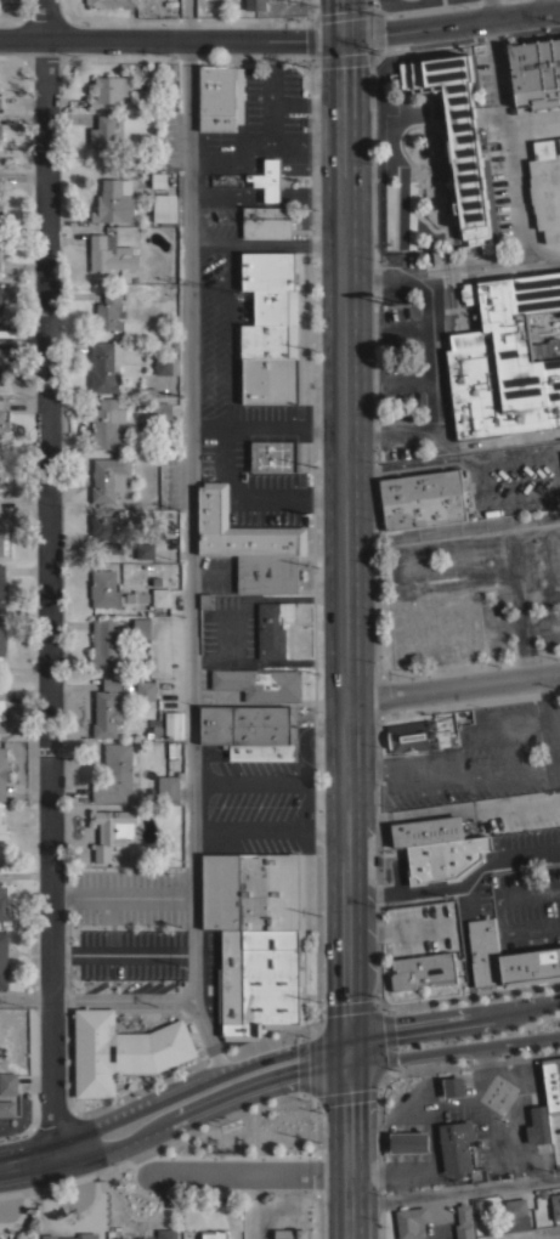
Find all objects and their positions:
building: (112, 2)
building: (255, 4)
road: (544, 6)
road: (490, 10)
road: (340, 19)
road: (449, 24)
traffic signals: (341, 40)
road: (170, 41)
building: (534, 73)
building: (111, 90)
building: (220, 97)
building: (0, 103)
parking lot: (267, 119)
building: (0, 131)
building: (102, 134)
building: (456, 136)
building: (559, 142)
road: (507, 148)
building: (268, 179)
building: (159, 180)
building: (545, 188)
building: (114, 200)
building: (164, 208)
building: (1, 213)
building: (266, 222)
road: (210, 243)
road: (285, 243)
building: (109, 254)
building: (0, 265)
building: (0, 296)
building: (270, 305)
building: (109, 311)
road: (228, 333)
building: (505, 360)
road: (428, 361)
building: (104, 364)
building: (166, 366)
building: (0, 369)
building: (271, 380)
building: (162, 409)
parking lot: (242, 409)
road: (285, 423)
building: (108, 424)
building: (2, 425)
building: (275, 456)
road: (413, 469)
building: (0, 471)
building: (109, 477)
parking lot: (513, 480)
road: (483, 481)
road: (256, 490)
building: (422, 498)
building: (241, 528)
building: (108, 532)
road: (346, 543)
road: (192, 544)
building: (1, 545)
building: (145, 550)
parking lot: (220, 573)
building: (266, 573)
road: (49, 577)
building: (2, 588)
building: (103, 588)
building: (136, 595)
building: (162, 596)
road: (259, 598)
building: (207, 601)
building: (141, 628)
building: (272, 628)
parking lot: (231, 632)
building: (2, 639)
building: (104, 643)
road: (268, 663)
building: (259, 683)
road: (454, 684)
building: (146, 690)
road: (471, 702)
road: (551, 707)
building: (1, 708)
building: (107, 708)
building: (172, 724)
building: (248, 724)
road: (492, 725)
building: (419, 734)
building: (260, 751)
parking lot: (493, 756)
road: (397, 765)
road: (499, 769)
building: (2, 773)
building: (115, 774)
road: (270, 775)
building: (168, 787)
parking lot: (256, 805)
road: (270, 825)
building: (424, 826)
building: (112, 831)
building: (2, 841)
road: (377, 855)
building: (443, 855)
road: (459, 882)
parking lot: (524, 886)
building: (251, 888)
road: (120, 894)
building: (2, 901)
road: (498, 910)
road: (463, 929)
road: (120, 951)
building: (507, 956)
building: (4, 960)
building: (423, 968)
building: (256, 977)
road: (473, 996)
road: (97, 997)
road: (381, 1006)
road: (452, 1014)
road: (312, 1025)
road: (454, 1046)
traffic signals: (351, 1047)
building: (120, 1051)
road: (301, 1063)
road: (407, 1064)
building: (9, 1084)
building: (551, 1084)
building: (453, 1086)
gas station: (453, 1086)
road: (345, 1093)
road: (174, 1104)
building: (7, 1108)
road: (239, 1110)
building: (537, 1127)
park: (258, 1130)
road: (494, 1130)
building: (408, 1142)
gas station: (408, 1142)
road: (351, 1143)
road: (434, 1145)
building: (456, 1145)
road: (247, 1170)
road: (397, 1183)
road: (456, 1188)
road: (273, 1201)
building: (555, 1205)
building: (481, 1206)
building: (516, 1213)
road: (432, 1215)
building: (411, 1222)
building: (464, 1222)
building: (164, 1233)
building: (214, 1234)
building: (290, 1234)
building: (70, 1237)
building: (121, 1238)

